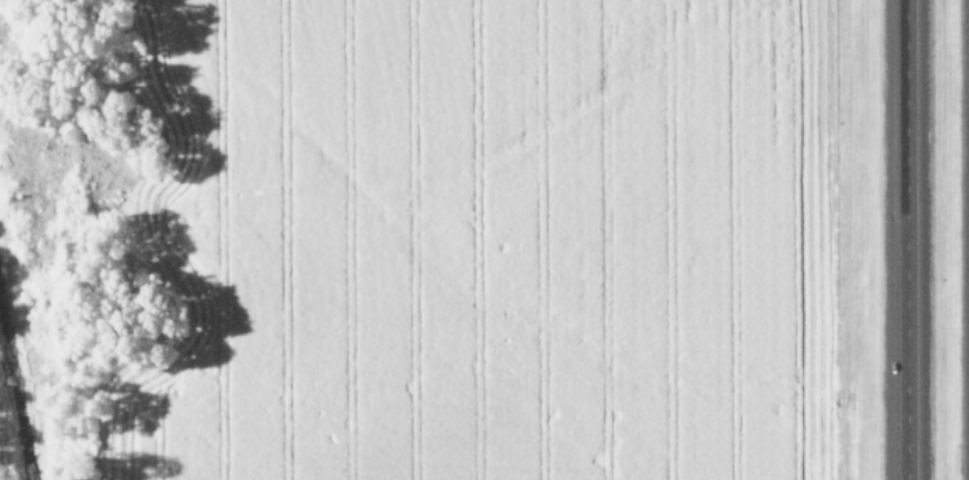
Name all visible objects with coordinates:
crop: (475, 238)
road: (906, 240)

